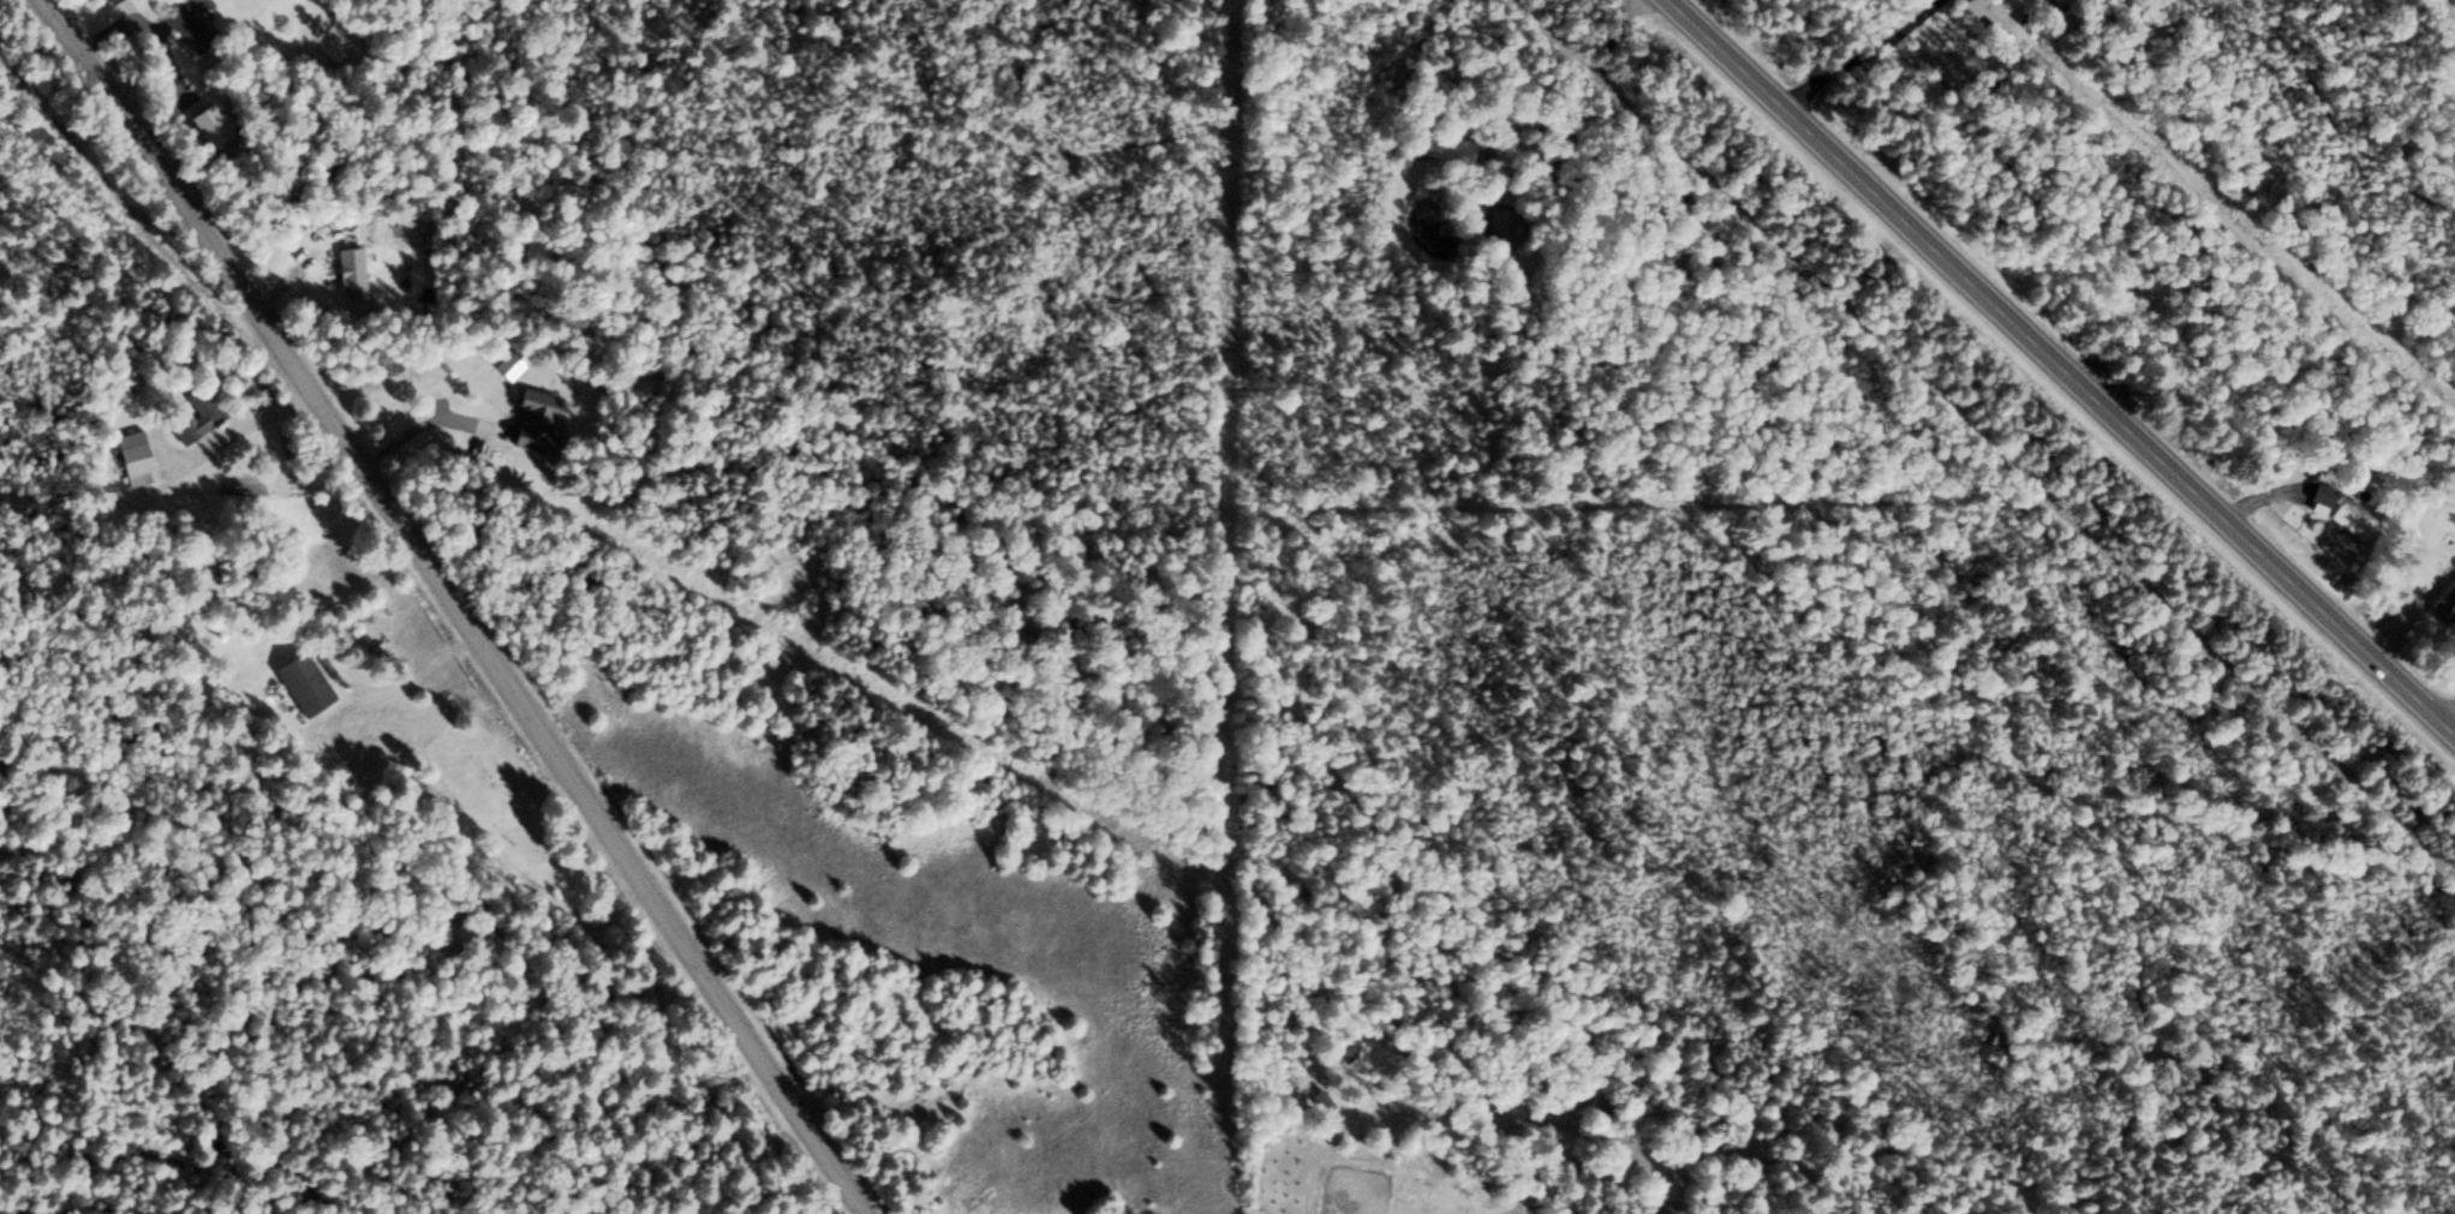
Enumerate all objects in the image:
building: (103, 0)
building: (175, 20)
road: (1572, 68)
road: (1906, 94)
building: (1438, 145)
building: (346, 269)
road: (2061, 364)
building: (193, 414)
building: (527, 417)
road: (1979, 443)
building: (131, 456)
building: (2340, 509)
building: (2445, 602)
road: (454, 605)
building: (298, 681)
road: (2451, 722)

